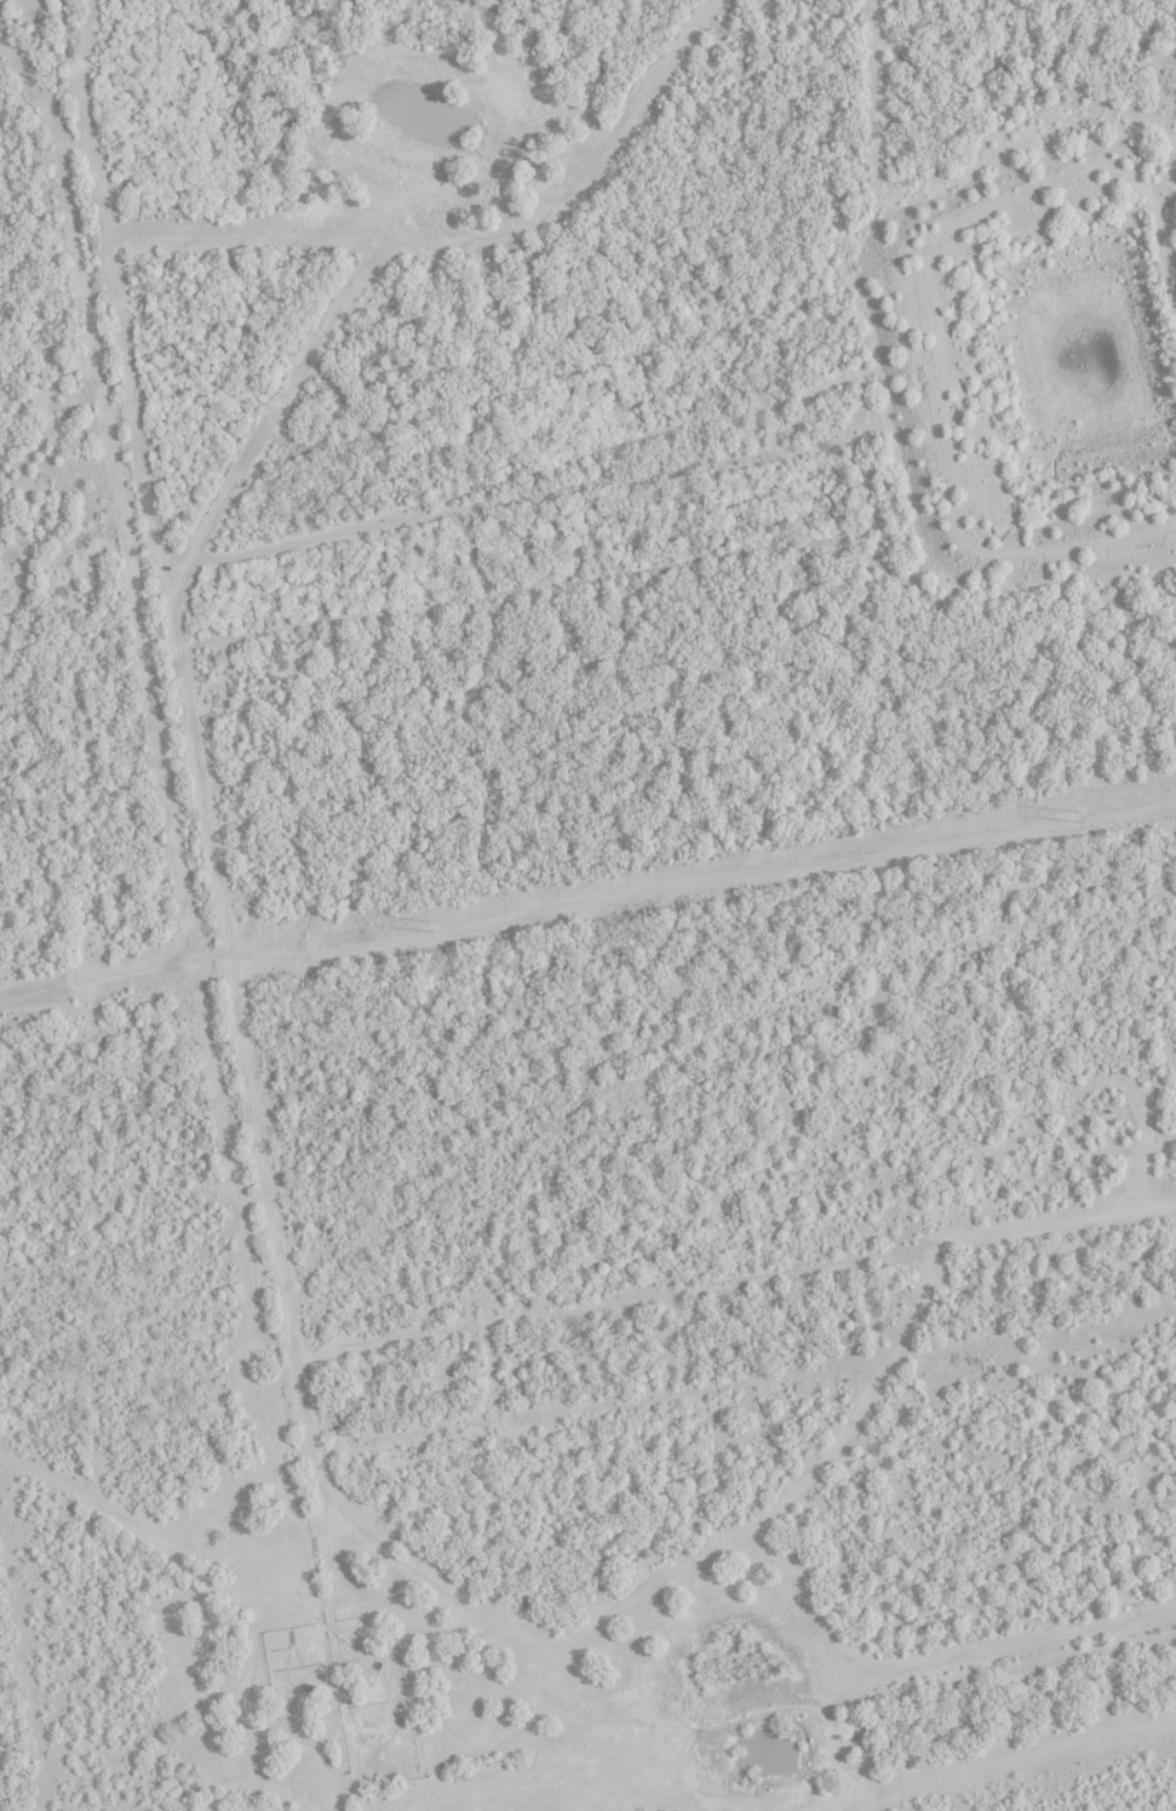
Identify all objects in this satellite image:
power tower: (1078, 818)
power tower: (429, 925)

